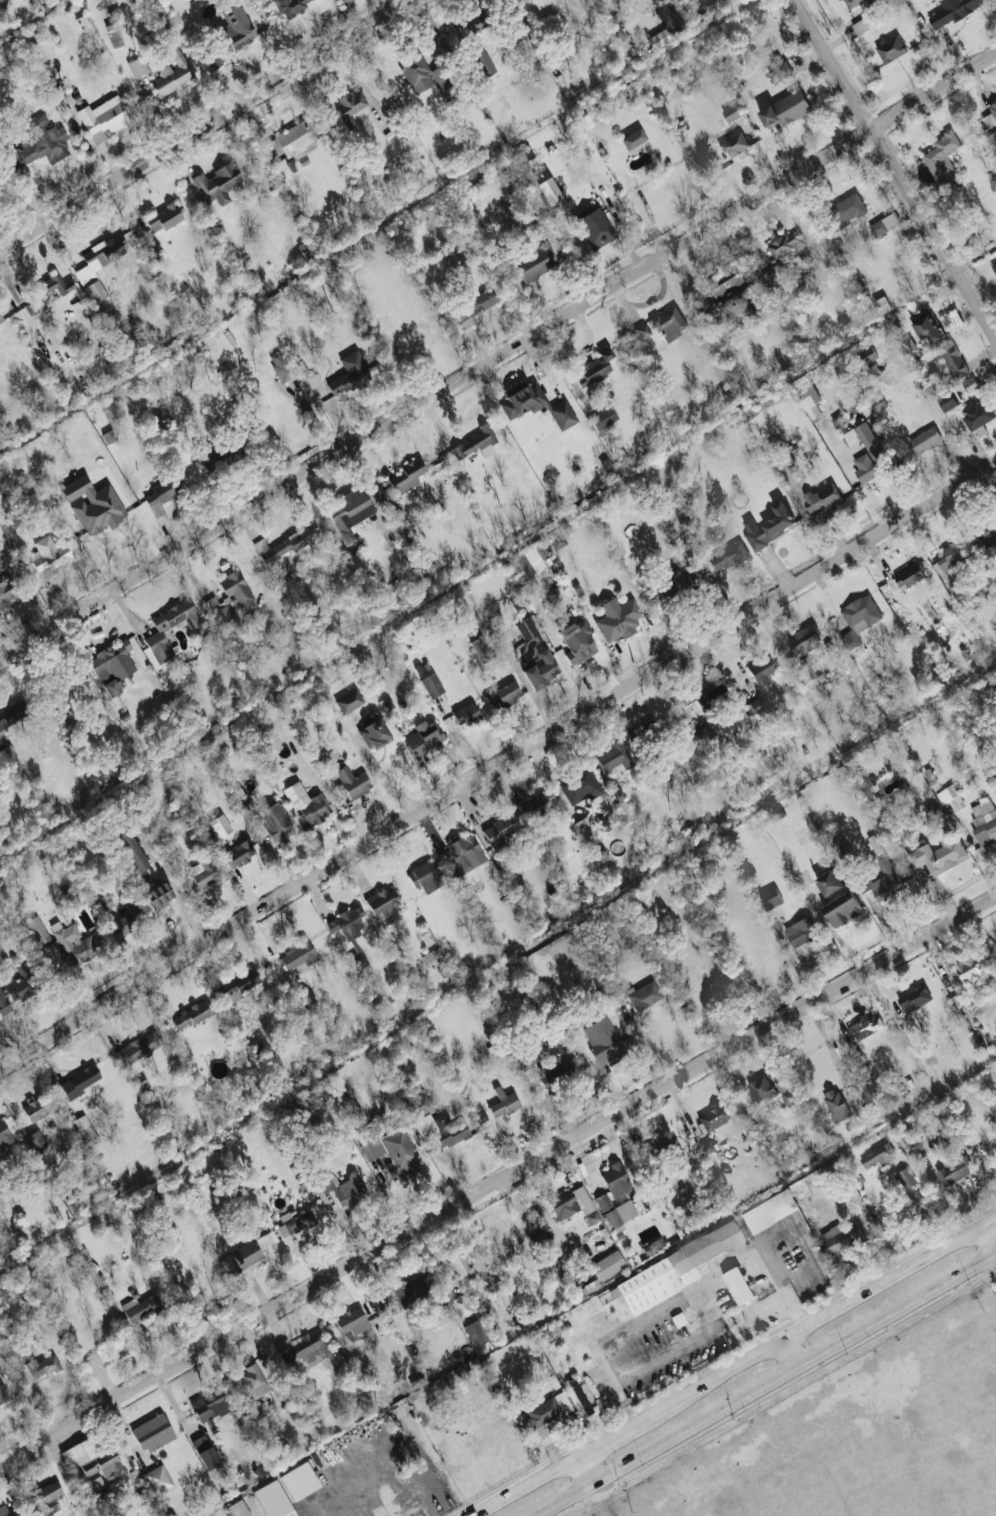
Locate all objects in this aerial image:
building: (525, 2)
building: (712, 2)
building: (853, 3)
building: (2, 5)
building: (298, 6)
building: (953, 12)
building: (475, 23)
building: (114, 27)
building: (234, 28)
building: (658, 38)
building: (890, 49)
building: (42, 50)
building: (482, 62)
building: (779, 65)
building: (137, 66)
building: (172, 72)
building: (423, 72)
building: (351, 103)
building: (785, 109)
building: (733, 112)
building: (990, 116)
building: (103, 118)
road: (207, 126)
building: (632, 138)
building: (291, 142)
building: (734, 144)
building: (41, 146)
building: (941, 155)
road: (894, 167)
building: (992, 182)
building: (217, 183)
building: (848, 209)
building: (163, 217)
building: (885, 224)
building: (595, 228)
building: (788, 246)
building: (536, 263)
building: (98, 266)
building: (994, 266)
building: (775, 275)
building: (49, 288)
building: (732, 295)
building: (881, 305)
building: (474, 306)
building: (1, 320)
building: (669, 324)
building: (926, 325)
building: (642, 331)
building: (867, 355)
road: (497, 357)
building: (953, 361)
building: (280, 366)
building: (594, 369)
building: (349, 373)
building: (969, 385)
building: (522, 400)
building: (949, 401)
building: (810, 403)
building: (562, 415)
building: (977, 416)
building: (603, 419)
building: (924, 440)
building: (476, 443)
building: (867, 453)
building: (163, 493)
building: (822, 497)
building: (93, 504)
building: (349, 516)
building: (767, 527)
building: (985, 534)
building: (557, 541)
building: (284, 549)
building: (48, 554)
building: (953, 555)
building: (724, 558)
building: (526, 562)
building: (909, 576)
building: (676, 580)
building: (5, 588)
building: (654, 595)
building: (228, 598)
building: (616, 619)
building: (858, 619)
building: (525, 628)
building: (157, 634)
building: (804, 640)
building: (577, 641)
building: (481, 649)
building: (112, 666)
building: (541, 669)
building: (761, 671)
building: (806, 671)
building: (431, 685)
building: (504, 695)
building: (706, 700)
building: (349, 701)
building: (758, 708)
building: (14, 712)
building: (465, 714)
building: (59, 719)
building: (373, 734)
building: (704, 734)
building: (423, 738)
building: (613, 756)
road: (498, 766)
building: (764, 766)
building: (351, 782)
building: (579, 785)
building: (613, 789)
building: (247, 801)
building: (950, 801)
building: (306, 804)
building: (535, 806)
building: (984, 821)
building: (275, 822)
building: (220, 825)
building: (585, 826)
building: (498, 829)
building: (838, 843)
building: (131, 851)
building: (239, 853)
building: (938, 853)
building: (463, 854)
building: (203, 873)
building: (424, 876)
building: (512, 879)
building: (885, 881)
building: (829, 883)
building: (157, 894)
building: (771, 898)
building: (103, 904)
building: (385, 904)
building: (843, 910)
building: (129, 916)
building: (802, 935)
building: (351, 936)
building: (62, 943)
building: (298, 955)
building: (966, 972)
building: (20, 983)
building: (235, 987)
building: (303, 995)
building: (643, 995)
building: (914, 998)
building: (3, 1005)
building: (192, 1014)
building: (865, 1026)
building: (603, 1040)
building: (138, 1048)
building: (554, 1071)
building: (402, 1077)
building: (78, 1082)
building: (761, 1088)
building: (786, 1093)
building: (417, 1103)
building: (503, 1104)
building: (836, 1105)
building: (34, 1109)
building: (717, 1115)
building: (443, 1128)
building: (85, 1130)
building: (4, 1136)
building: (36, 1140)
building: (661, 1146)
building: (394, 1153)
building: (877, 1155)
building: (955, 1171)
building: (905, 1178)
building: (616, 1180)
road: (498, 1182)
building: (345, 1189)
building: (574, 1205)
building: (769, 1211)
building: (615, 1213)
building: (817, 1213)
building: (295, 1222)
building: (840, 1238)
road: (988, 1241)
building: (245, 1257)
road: (995, 1257)
building: (456, 1260)
building: (607, 1265)
road: (477, 1269)
building: (671, 1269)
road: (439, 1274)
building: (738, 1285)
building: (413, 1288)
building: (497, 1290)
building: (459, 1306)
building: (141, 1307)
road: (816, 1319)
road: (653, 1320)
building: (352, 1321)
building: (475, 1332)
building: (306, 1350)
road: (790, 1353)
road: (649, 1365)
building: (43, 1366)
building: (254, 1381)
road: (767, 1384)
building: (3, 1394)
building: (580, 1397)
building: (206, 1404)
building: (546, 1412)
building: (153, 1433)
road: (608, 1438)
building: (205, 1451)
building: (90, 1458)
road: (587, 1469)
building: (157, 1479)
building: (299, 1481)
building: (94, 1484)
road: (525, 1485)
building: (47, 1492)
building: (276, 1496)
building: (237, 1509)
building: (12, 1511)

